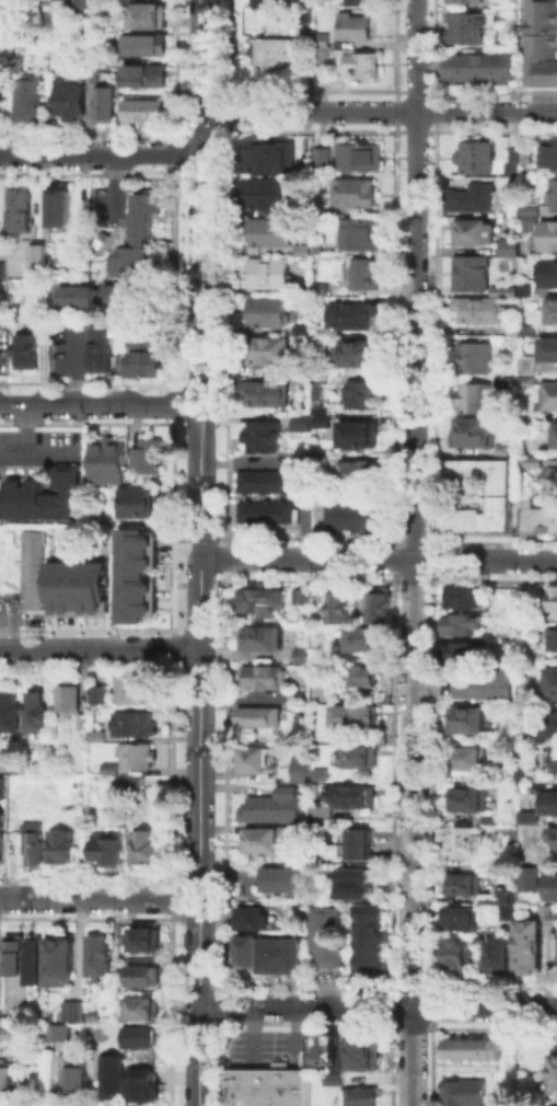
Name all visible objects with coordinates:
building: (473, 2)
building: (269, 3)
building: (65, 4)
building: (364, 5)
building: (85, 8)
building: (310, 18)
building: (151, 21)
building: (472, 23)
building: (356, 32)
building: (542, 45)
building: (148, 49)
building: (323, 53)
building: (280, 56)
building: (483, 68)
building: (362, 69)
building: (148, 82)
building: (72, 103)
building: (2, 105)
building: (30, 105)
building: (107, 106)
road: (379, 110)
building: (147, 116)
building: (524, 151)
road: (100, 153)
building: (549, 153)
building: (267, 154)
building: (321, 154)
building: (359, 155)
building: (473, 155)
building: (511, 161)
building: (504, 178)
building: (352, 191)
building: (262, 192)
building: (554, 194)
road: (201, 195)
building: (466, 196)
building: (59, 204)
building: (20, 207)
building: (529, 208)
parking lot: (104, 210)
building: (527, 220)
building: (512, 224)
building: (268, 230)
building: (472, 230)
building: (360, 231)
building: (548, 233)
building: (138, 242)
building: (508, 245)
building: (317, 246)
building: (302, 249)
building: (37, 255)
building: (267, 272)
building: (362, 272)
building: (469, 272)
building: (547, 272)
building: (318, 287)
building: (525, 287)
building: (502, 289)
building: (97, 297)
building: (478, 307)
building: (552, 309)
building: (267, 310)
building: (351, 313)
building: (300, 327)
building: (510, 329)
building: (525, 329)
parking lot: (2, 333)
building: (139, 333)
building: (318, 339)
parking lot: (58, 345)
building: (96, 347)
building: (547, 347)
building: (267, 348)
building: (25, 349)
building: (357, 352)
building: (473, 356)
building: (139, 361)
road: (76, 362)
building: (525, 362)
building: (298, 378)
building: (318, 378)
building: (502, 379)
building: (525, 379)
building: (265, 392)
building: (316, 393)
building: (360, 393)
building: (547, 393)
building: (473, 395)
road: (94, 402)
road: (212, 403)
building: (318, 408)
building: (525, 418)
building: (320, 419)
building: (300, 420)
road: (25, 426)
building: (471, 430)
building: (356, 431)
building: (263, 435)
building: (556, 435)
building: (501, 448)
parking lot: (39, 449)
road: (37, 451)
building: (146, 457)
building: (317, 459)
parking lot: (269, 460)
building: (108, 461)
building: (532, 461)
road: (300, 463)
building: (356, 472)
building: (550, 472)
building: (0, 479)
building: (265, 480)
building: (498, 494)
building: (43, 496)
building: (139, 503)
building: (266, 510)
building: (535, 515)
building: (353, 516)
road: (415, 553)
road: (378, 560)
building: (33, 569)
building: (138, 575)
building: (79, 588)
building: (300, 595)
building: (465, 598)
building: (555, 600)
building: (262, 601)
building: (341, 607)
building: (383, 607)
building: (465, 627)
building: (264, 638)
building: (365, 641)
building: (555, 642)
road: (100, 648)
road: (200, 648)
building: (463, 653)
building: (301, 654)
building: (364, 677)
building: (266, 679)
building: (485, 683)
building: (553, 686)
building: (134, 689)
building: (98, 695)
building: (68, 696)
building: (9, 711)
building: (35, 711)
building: (358, 718)
building: (81, 719)
building: (262, 719)
building: (468, 722)
building: (132, 723)
building: (553, 725)
building: (96, 734)
building: (135, 757)
building: (360, 758)
building: (472, 760)
building: (257, 762)
building: (555, 762)
building: (109, 767)
building: (303, 772)
building: (1, 783)
building: (139, 783)
building: (141, 796)
building: (357, 798)
building: (472, 802)
building: (128, 804)
building: (550, 804)
building: (276, 808)
building: (525, 815)
building: (325, 816)
building: (1, 833)
building: (31, 838)
building: (553, 841)
building: (58, 842)
building: (141, 843)
building: (269, 843)
building: (468, 844)
building: (361, 846)
building: (104, 848)
building: (530, 879)
building: (286, 884)
building: (358, 887)
building: (466, 887)
building: (552, 888)
road: (93, 897)
building: (501, 897)
road: (210, 899)
building: (511, 913)
building: (460, 920)
building: (256, 922)
building: (330, 940)
building: (146, 943)
building: (531, 946)
building: (372, 947)
building: (459, 955)
building: (18, 958)
road: (198, 958)
building: (251, 958)
building: (500, 958)
building: (286, 959)
building: (100, 960)
building: (60, 963)
building: (38, 966)
building: (144, 979)
building: (1, 982)
road: (378, 1007)
building: (146, 1012)
building: (76, 1013)
building: (59, 1032)
building: (142, 1040)
building: (325, 1051)
building: (474, 1052)
road: (198, 1057)
building: (365, 1057)
building: (77, 1079)
building: (114, 1079)
building: (553, 1079)
building: (335, 1081)
building: (8, 1083)
building: (142, 1084)
building: (269, 1090)
building: (467, 1095)
building: (363, 1098)

